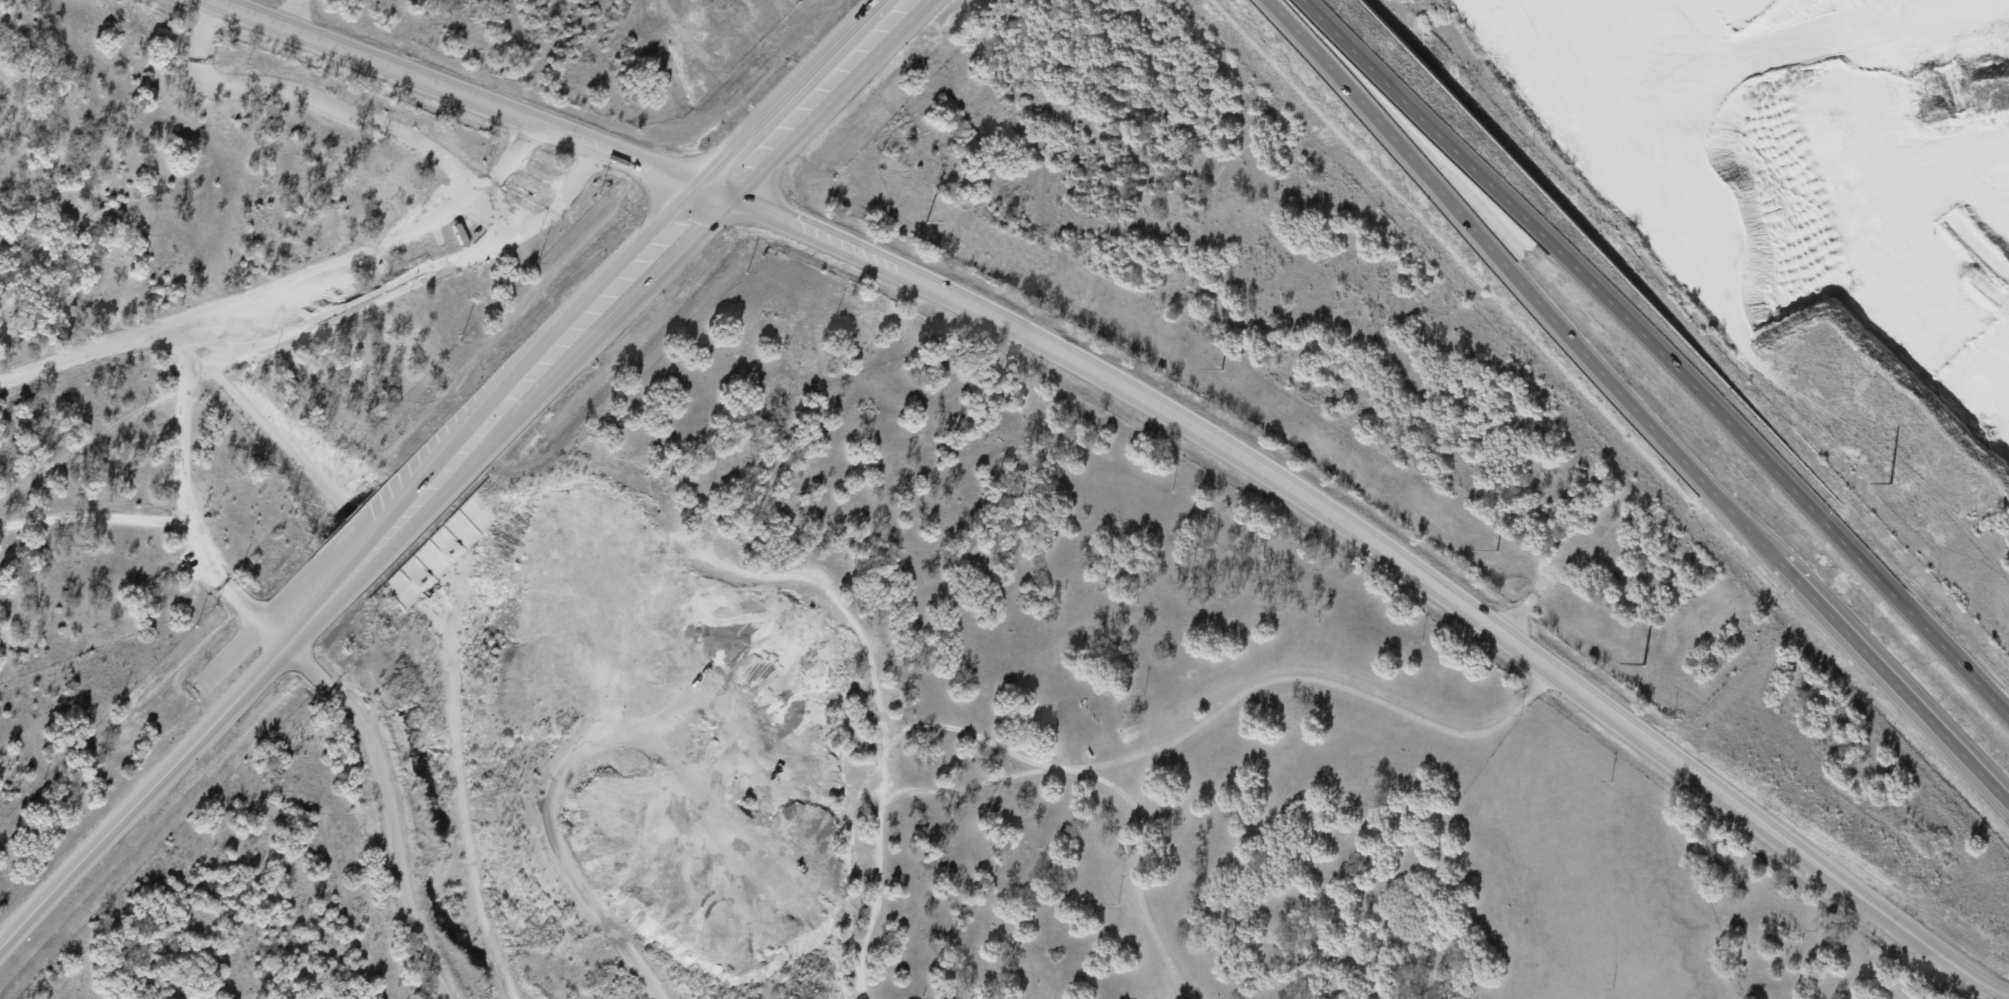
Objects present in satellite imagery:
road: (799, 94)
road: (353, 113)
road: (547, 215)
power tower: (928, 222)
road: (242, 296)
road: (364, 302)
road: (1658, 351)
power tower: (1221, 368)
road: (1631, 405)
road: (1158, 407)
power tower: (1889, 482)
road: (182, 495)
power tower: (1495, 551)
road: (349, 569)
power tower: (1643, 663)
road: (1233, 698)
road: (386, 808)

